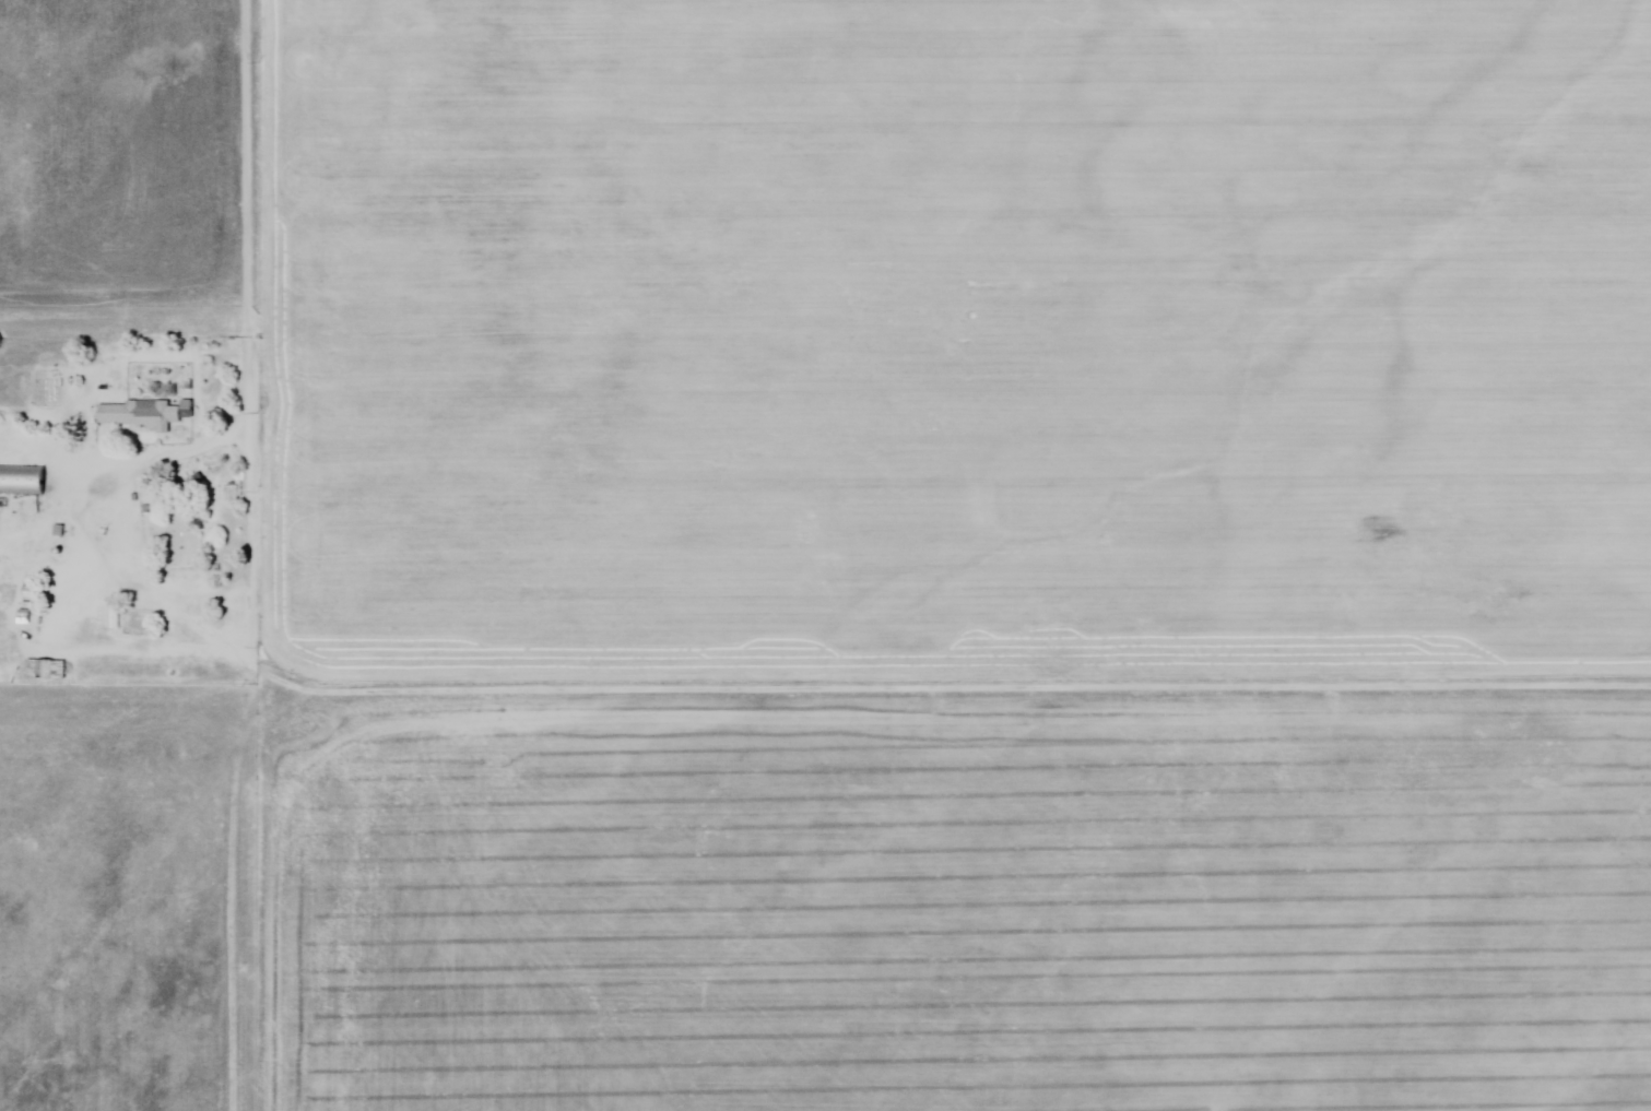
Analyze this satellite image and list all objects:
road: (244, 281)
building: (149, 417)
building: (23, 482)
storage tank: (2, 521)
building: (61, 532)
storage tank: (59, 552)
building: (42, 593)
building: (115, 615)
building: (49, 670)
road: (951, 687)
road: (247, 713)

